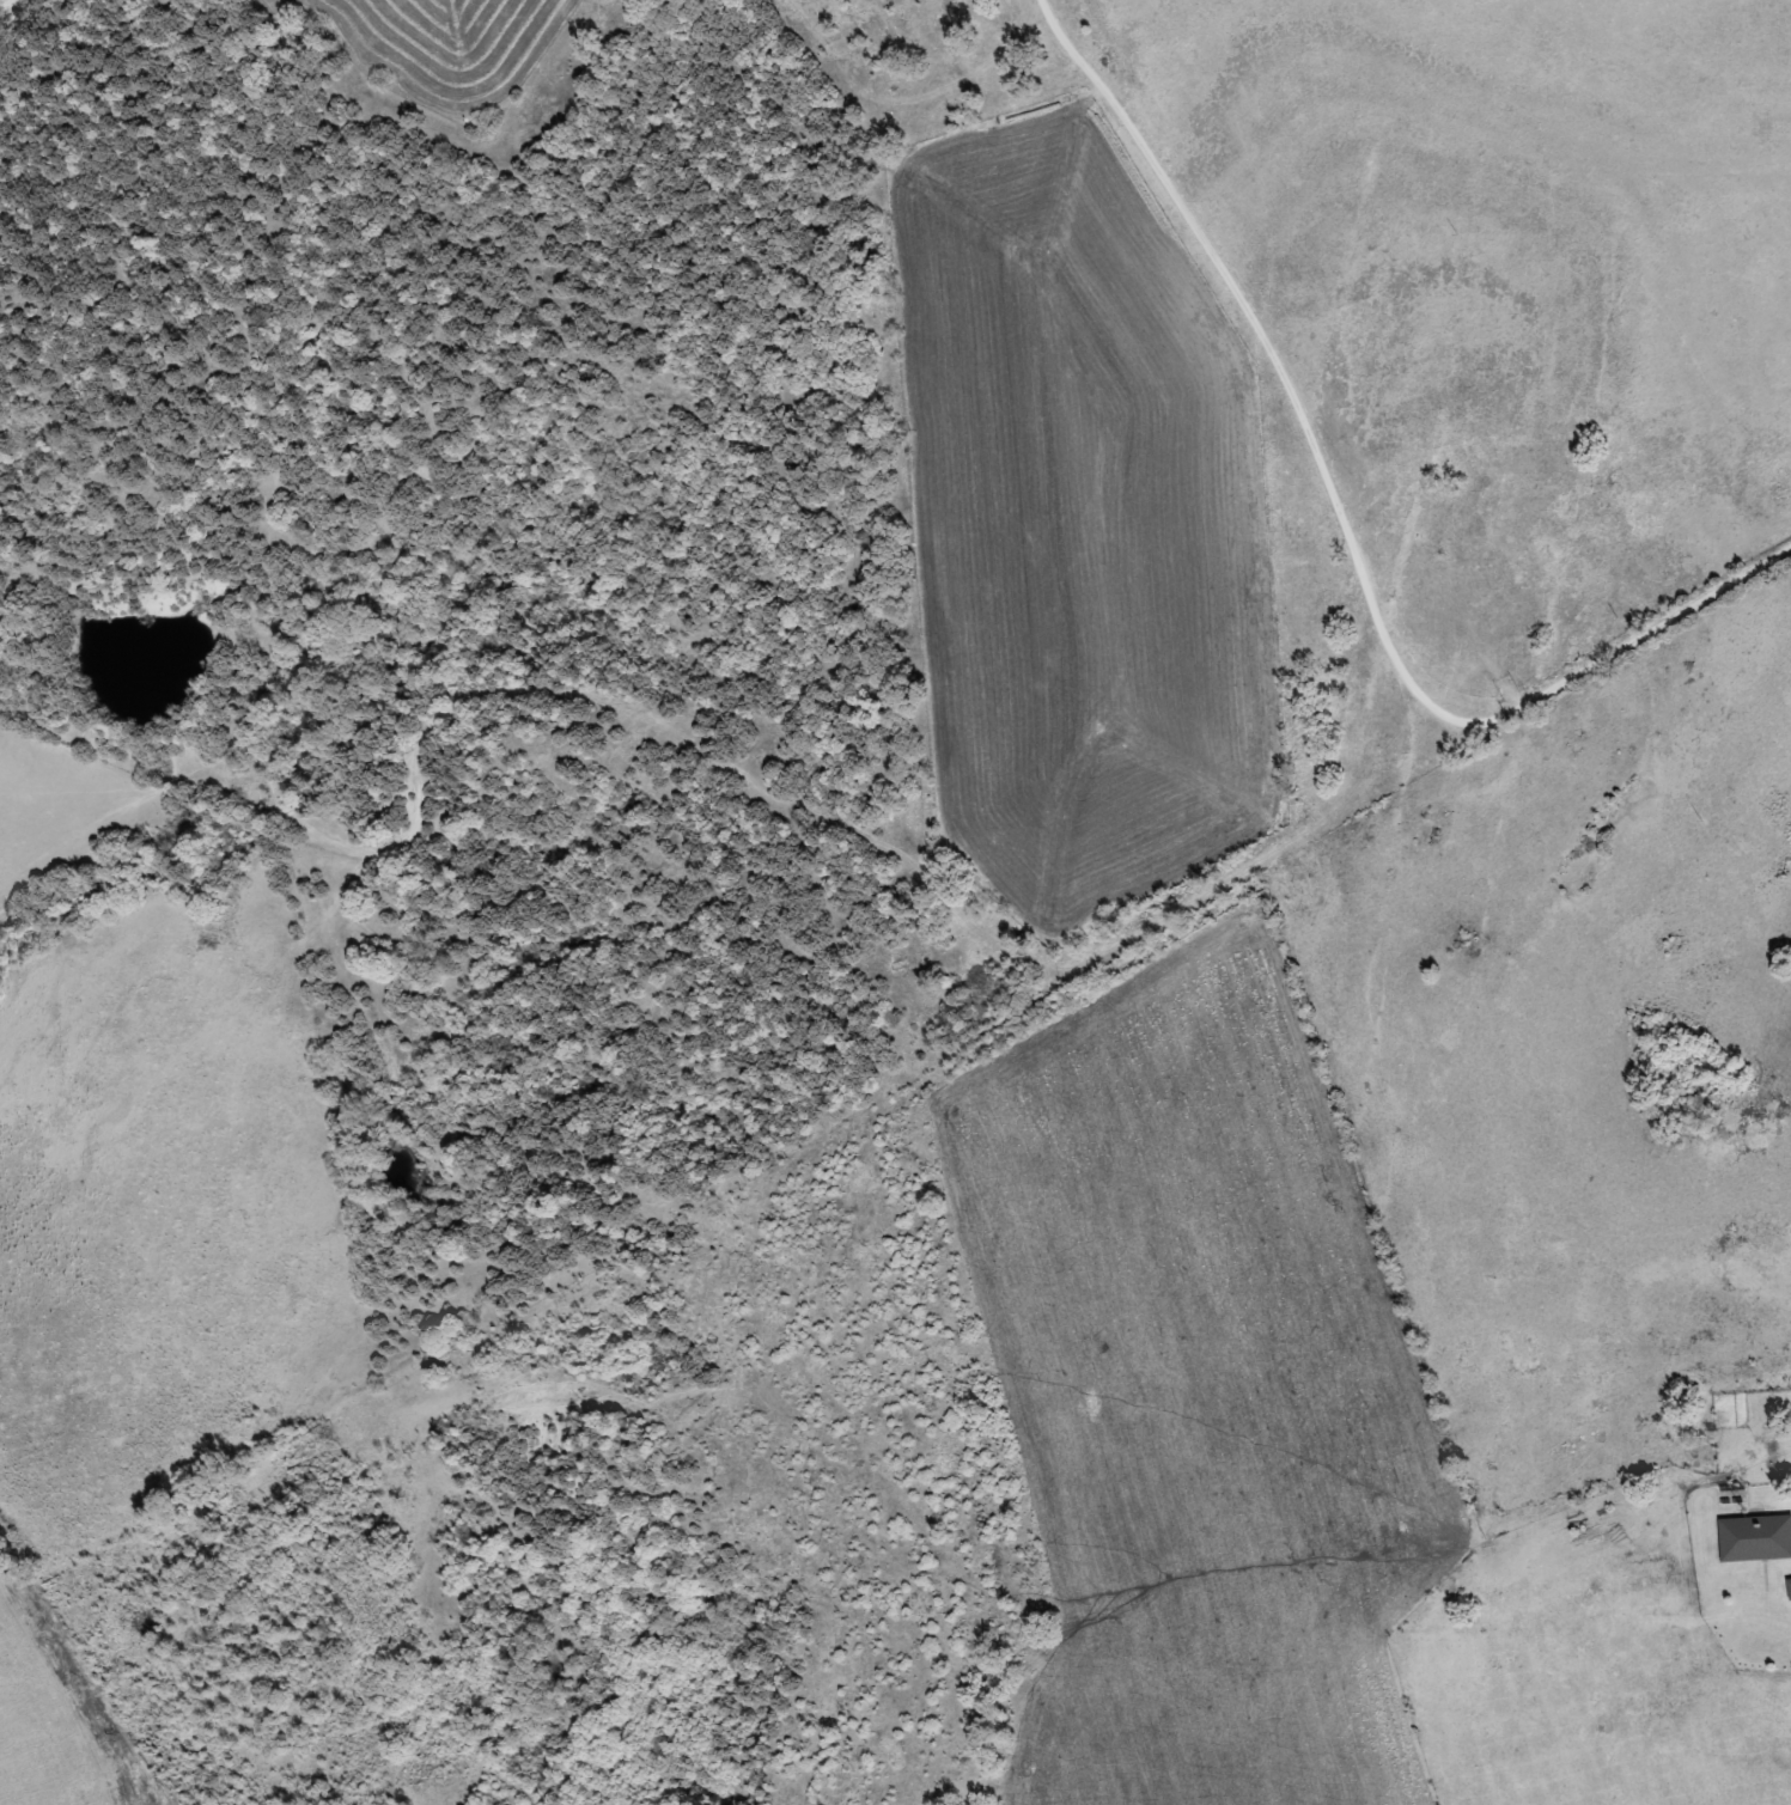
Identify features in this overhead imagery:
road: (1402, 624)
road: (1640, 702)
building: (1755, 1537)

